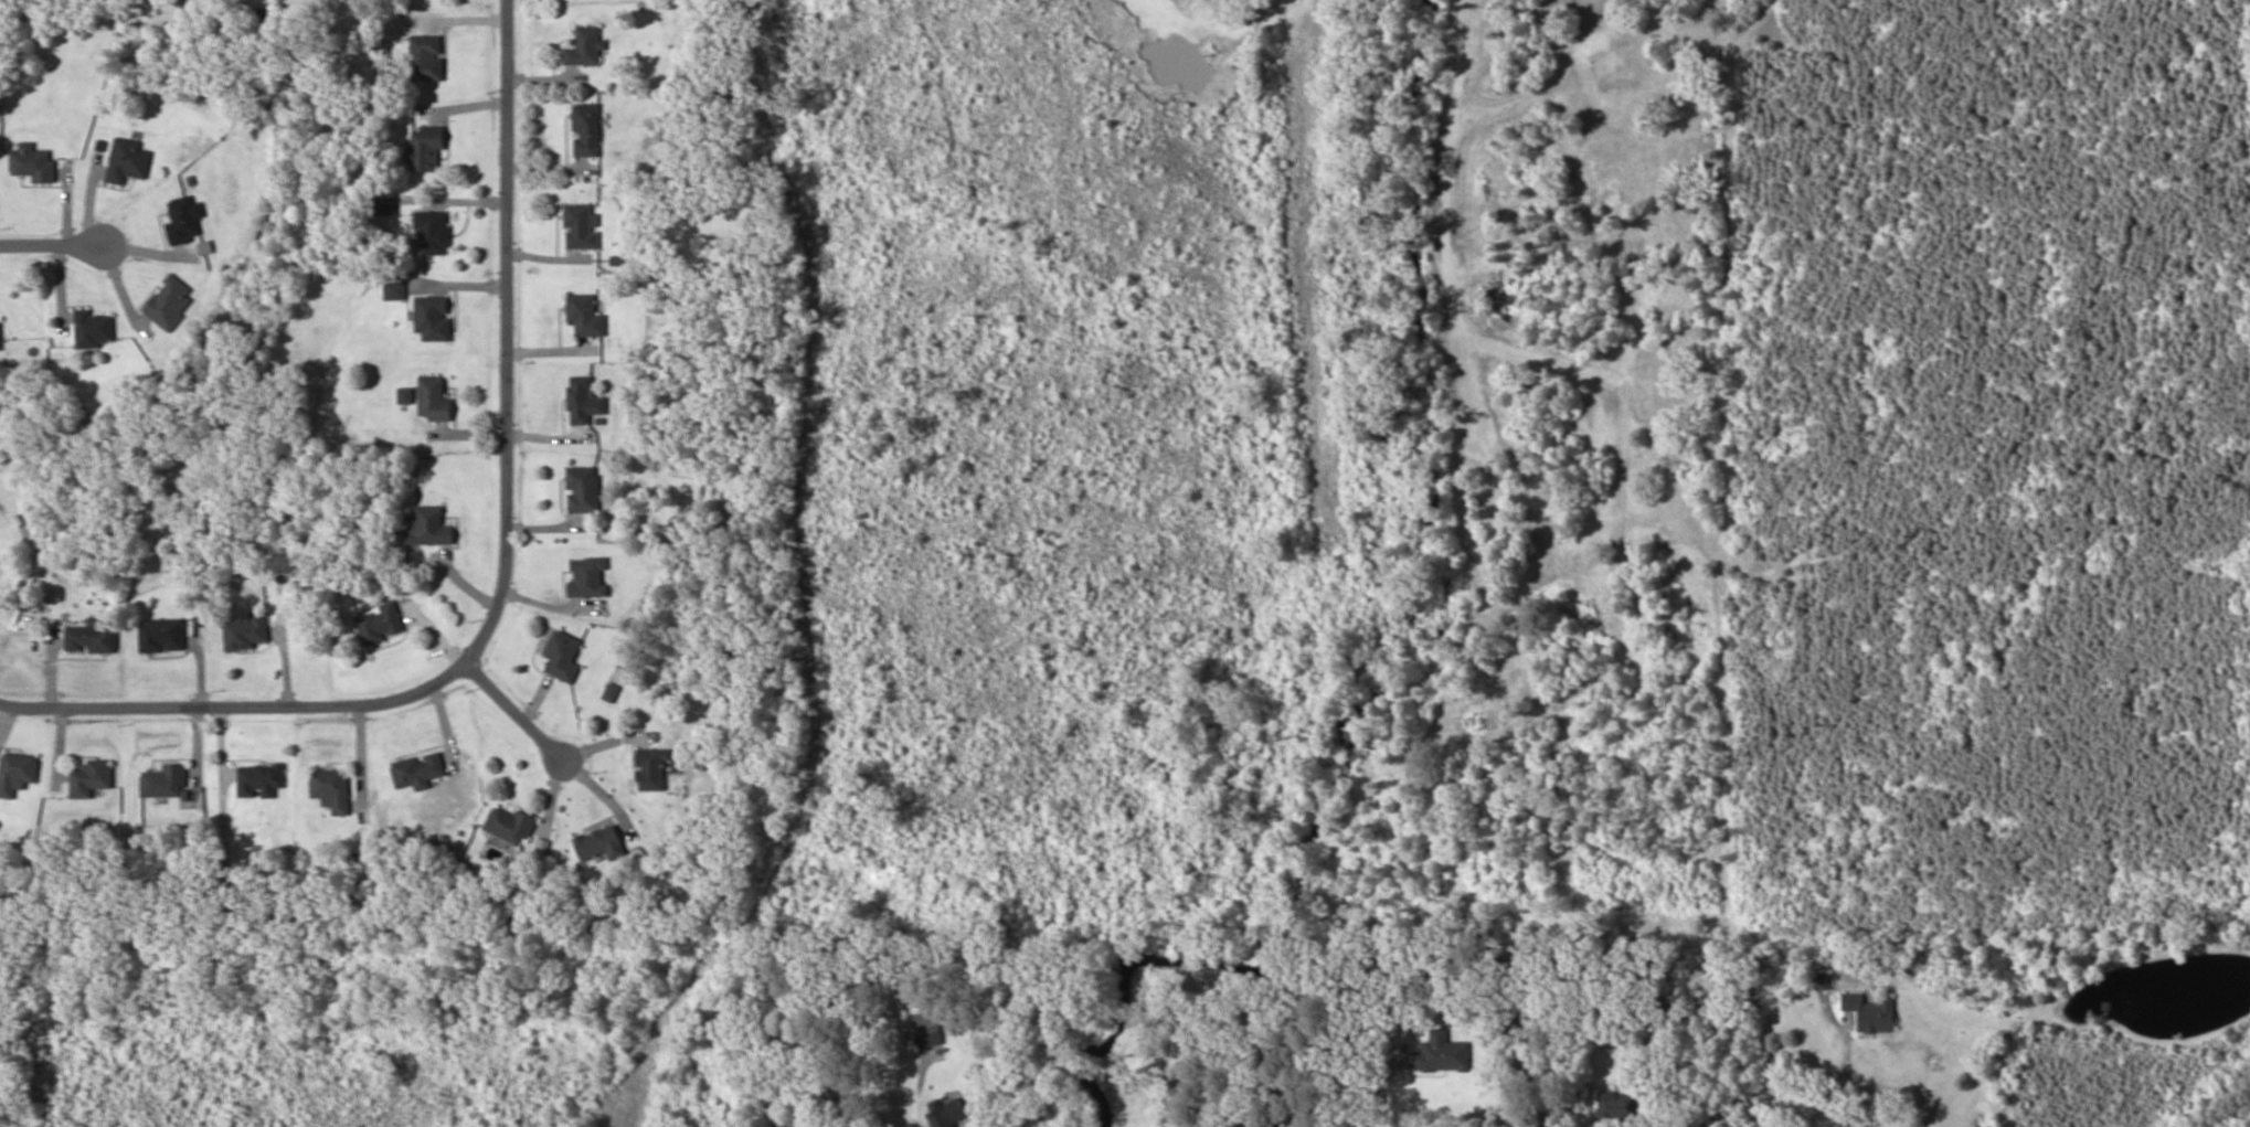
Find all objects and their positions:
building: (585, 49)
building: (427, 59)
building: (586, 130)
building: (426, 149)
building: (128, 161)
building: (33, 163)
building: (386, 206)
building: (185, 221)
building: (581, 228)
building: (434, 233)
road: (49, 248)
building: (395, 291)
building: (170, 302)
building: (586, 317)
building: (434, 319)
building: (94, 330)
road: (506, 336)
building: (435, 401)
building: (585, 402)
building: (584, 490)
building: (431, 528)
building: (590, 578)
building: (379, 625)
building: (246, 634)
building: (161, 637)
building: (91, 640)
building: (563, 658)
building: (613, 694)
road: (237, 706)
road: (513, 711)
building: (654, 770)
building: (418, 773)
building: (17, 775)
building: (91, 779)
building: (261, 782)
building: (166, 783)
building: (332, 790)
building: (511, 826)
building: (602, 843)
building: (1872, 1013)
building: (928, 1038)
building: (1443, 1054)
building: (1617, 1109)
building: (949, 1114)
building: (1225, 1123)

